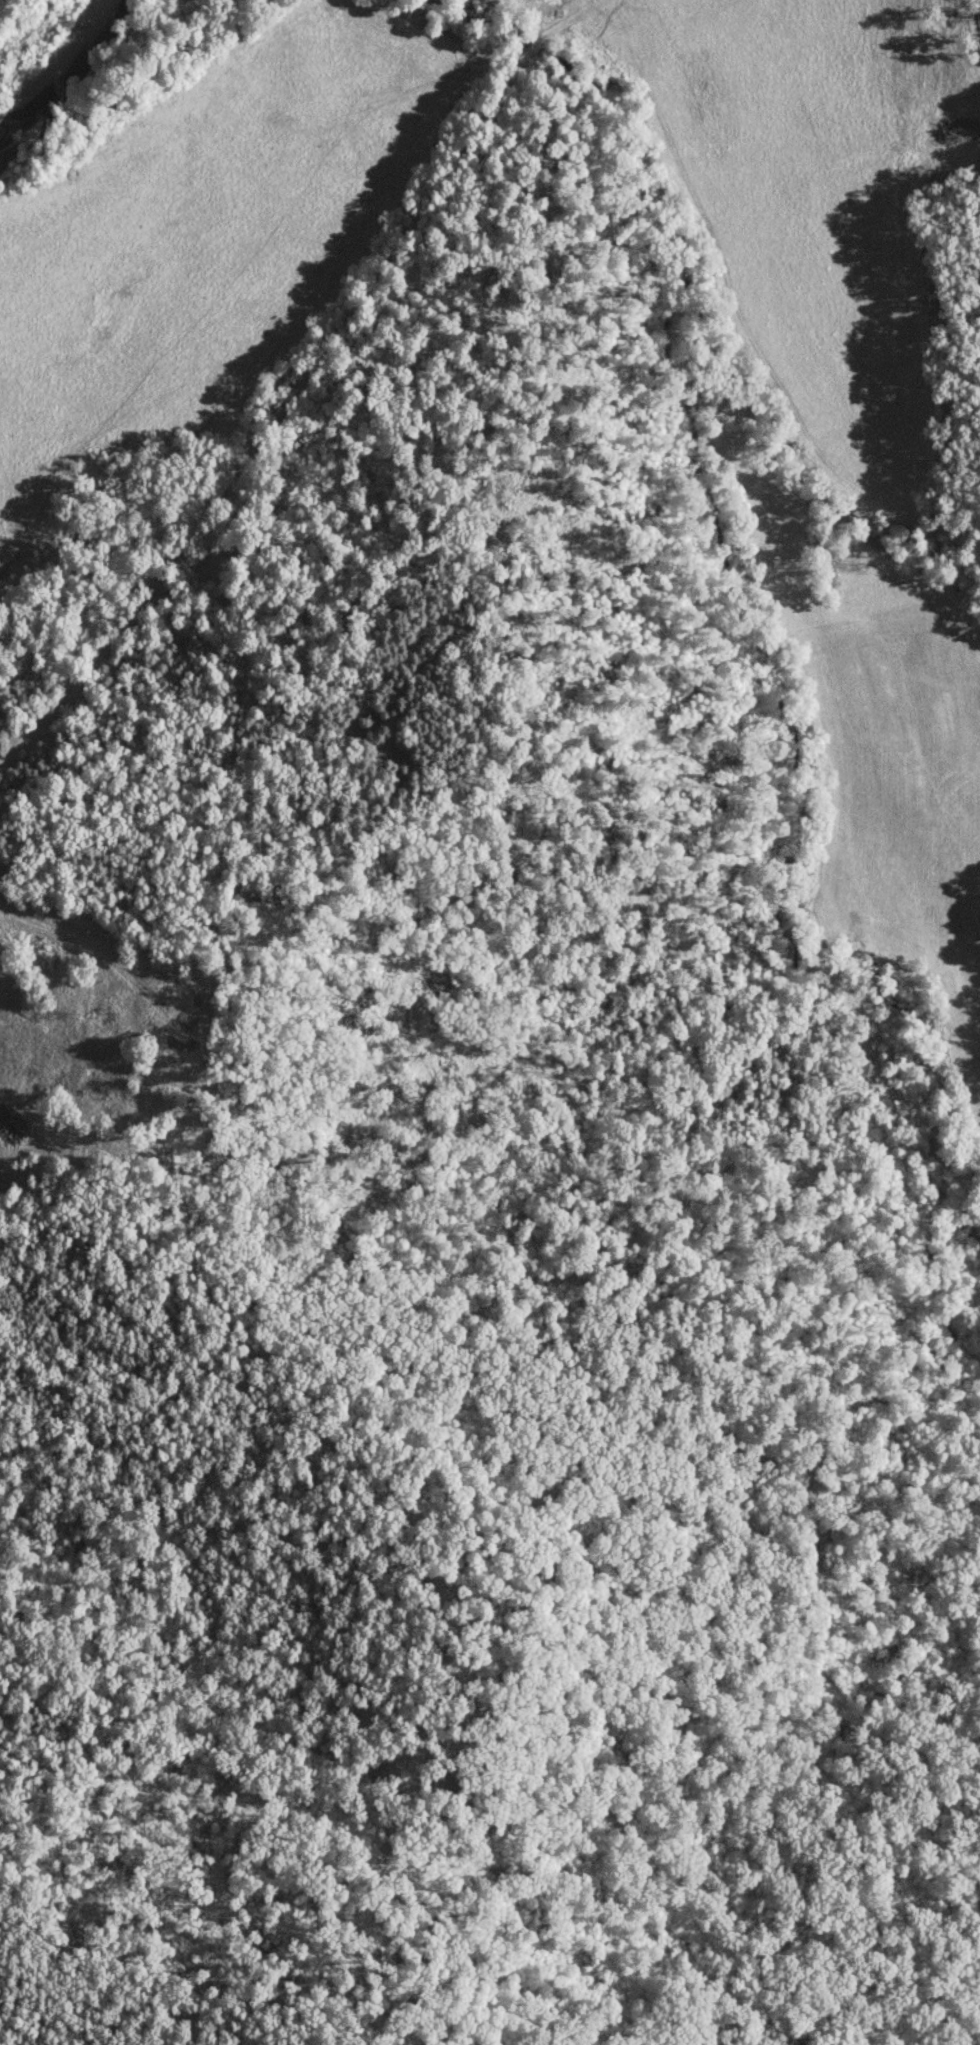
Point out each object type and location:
building: (975, 21)
road: (304, 380)

